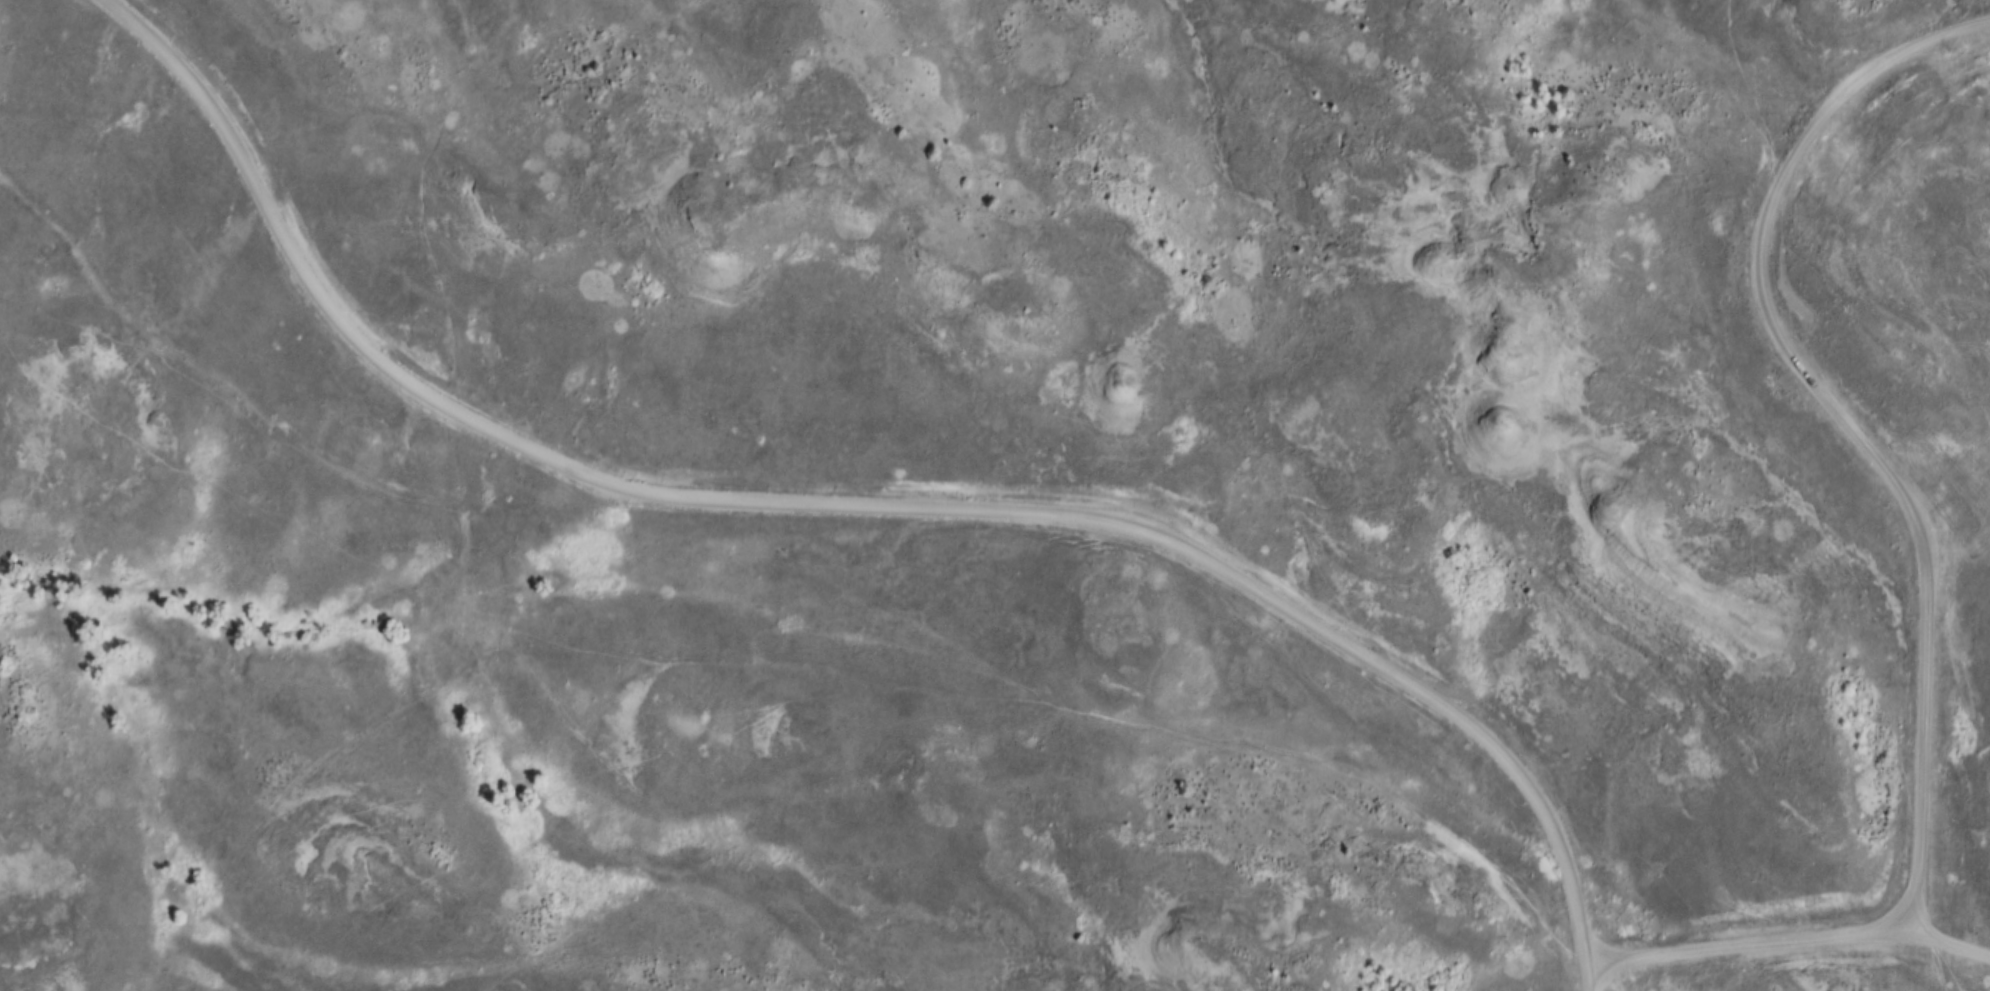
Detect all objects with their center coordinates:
road: (1974, 272)
road: (1847, 420)
road: (1954, 497)
road: (843, 512)
road: (1754, 946)
road: (1954, 946)
road: (1591, 979)

